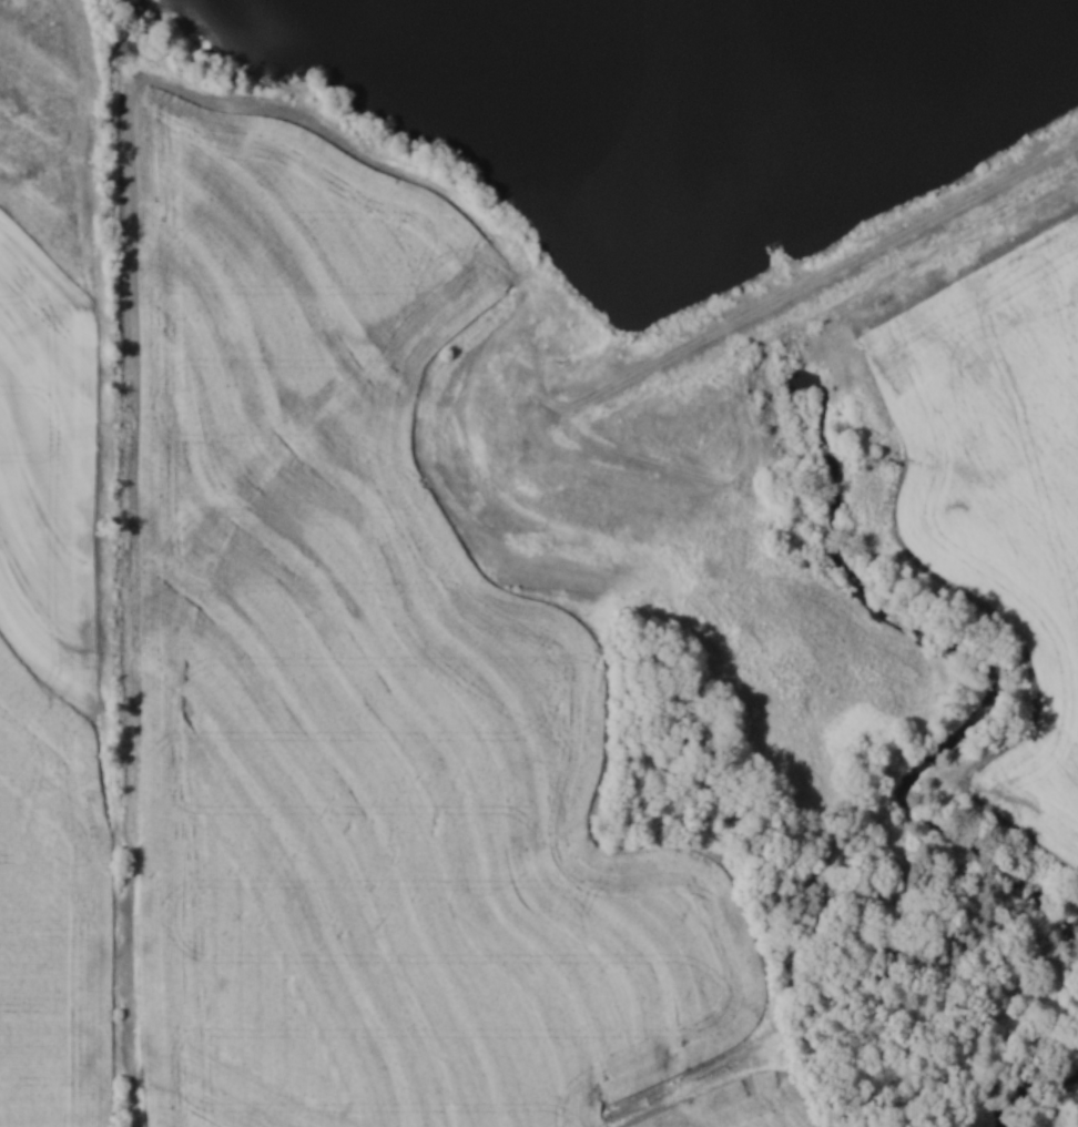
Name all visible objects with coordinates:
dam: (817, 277)

